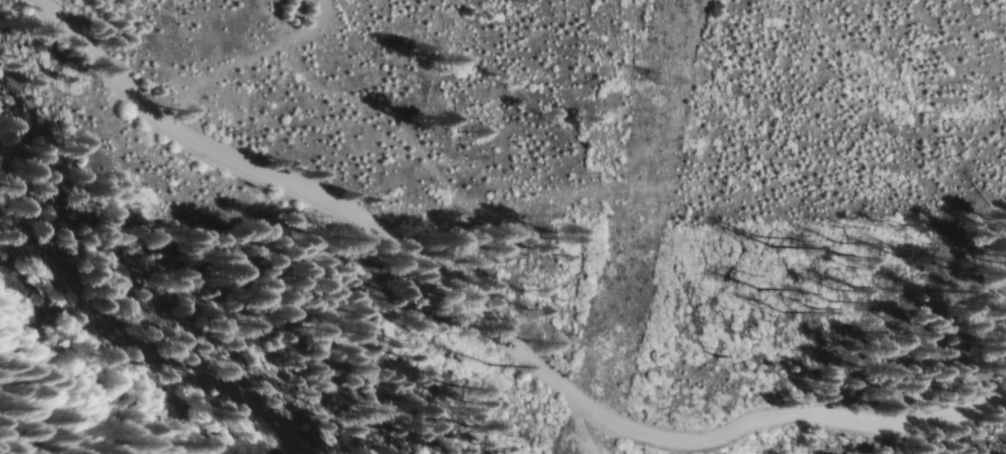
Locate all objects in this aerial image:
power tower: (660, 82)
road: (478, 320)

